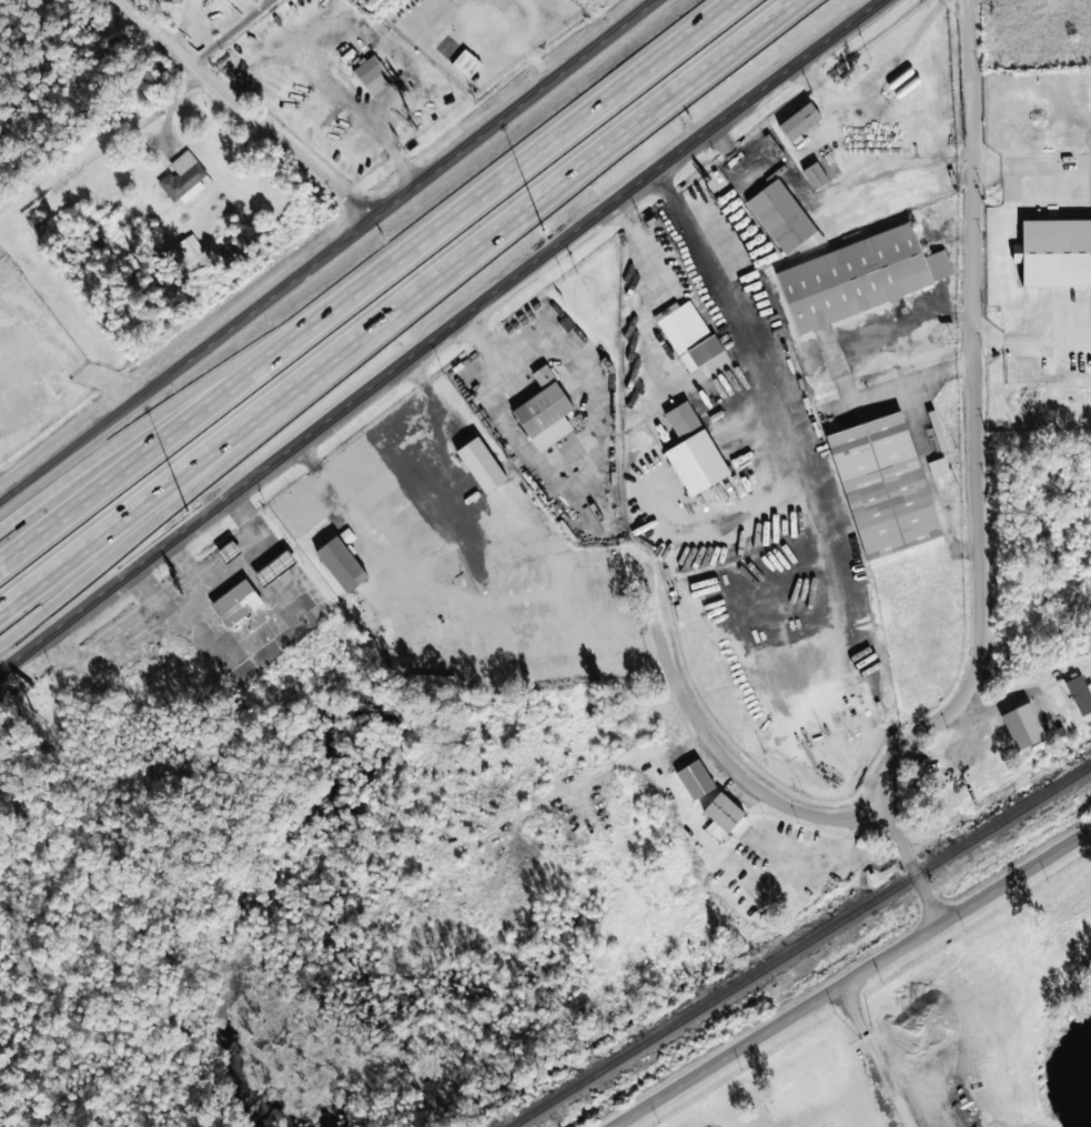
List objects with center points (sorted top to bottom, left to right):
road: (232, 32)
building: (466, 62)
building: (372, 76)
road: (244, 111)
building: (799, 121)
road: (452, 153)
building: (182, 175)
building: (815, 175)
building: (784, 219)
building: (186, 249)
building: (1054, 252)
building: (859, 276)
road: (364, 281)
road: (393, 303)
road: (1034, 329)
road: (436, 330)
building: (687, 334)
road: (172, 371)
building: (545, 411)
road: (977, 416)
road: (149, 421)
road: (249, 443)
building: (688, 449)
road: (796, 455)
building: (481, 464)
road: (47, 466)
building: (938, 466)
building: (885, 486)
building: (229, 551)
building: (341, 563)
building: (274, 567)
road: (650, 575)
building: (235, 603)
building: (1080, 694)
building: (1021, 726)
building: (695, 779)
building: (725, 817)
road: (908, 863)
railway: (800, 946)
road: (849, 979)
road: (878, 1057)

